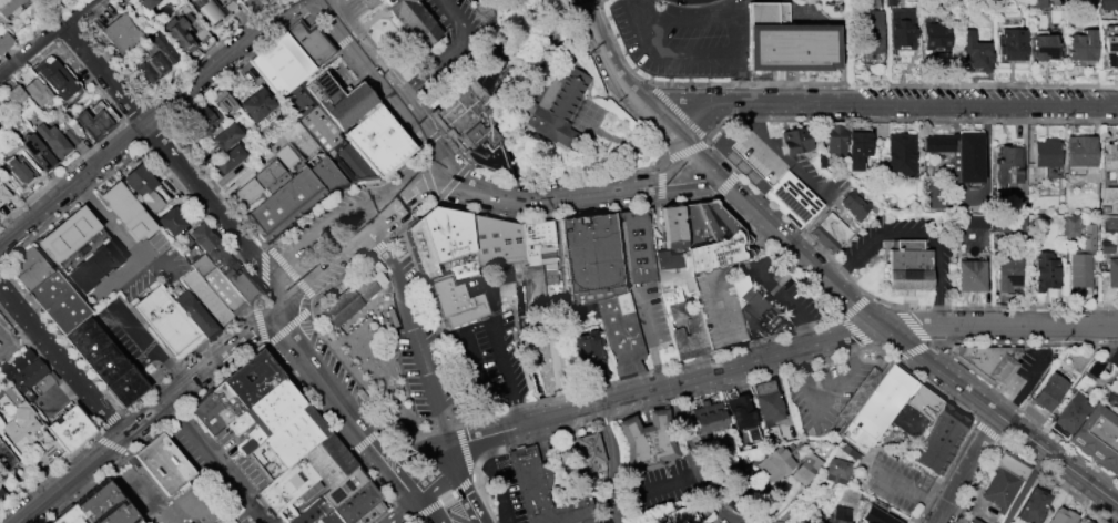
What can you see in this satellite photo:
building: (244, 0)
building: (375, 0)
building: (383, 1)
building: (146, 3)
building: (888, 3)
building: (1038, 3)
road: (689, 4)
building: (1108, 4)
building: (8, 6)
road: (641, 8)
road: (331, 9)
road: (349, 9)
building: (207, 10)
road: (318, 11)
road: (382, 11)
building: (413, 19)
building: (901, 30)
building: (179, 32)
building: (119, 33)
building: (870, 35)
parking lot: (681, 37)
building: (936, 37)
road: (47, 38)
road: (346, 38)
building: (4, 40)
building: (307, 41)
building: (1010, 44)
building: (791, 45)
building: (1080, 47)
building: (1043, 48)
road: (732, 49)
building: (973, 53)
building: (1110, 53)
building: (155, 55)
road: (451, 57)
building: (278, 63)
building: (57, 80)
road: (739, 80)
road: (832, 83)
building: (321, 90)
road: (393, 91)
building: (37, 92)
parking lot: (985, 92)
building: (14, 94)
road: (634, 98)
building: (222, 101)
building: (255, 103)
road: (884, 103)
building: (348, 105)
road: (673, 110)
building: (559, 111)
road: (146, 121)
building: (193, 122)
building: (92, 123)
building: (476, 124)
building: (225, 135)
building: (70, 136)
road: (614, 137)
building: (832, 137)
building: (376, 139)
building: (793, 139)
building: (52, 140)
road: (429, 140)
building: (935, 142)
building: (855, 146)
road: (683, 150)
building: (38, 152)
building: (1045, 152)
building: (1077, 152)
building: (898, 153)
building: (966, 155)
building: (227, 156)
building: (1109, 158)
road: (722, 160)
road: (175, 162)
parking lot: (783, 162)
building: (353, 163)
building: (1007, 163)
building: (339, 166)
building: (19, 170)
road: (246, 173)
building: (324, 173)
road: (803, 175)
building: (268, 176)
road: (426, 176)
road: (558, 180)
building: (138, 181)
road: (221, 181)
road: (450, 183)
road: (660, 183)
road: (724, 184)
building: (1106, 192)
building: (3, 194)
building: (246, 195)
road: (548, 197)
building: (790, 198)
building: (283, 202)
road: (659, 202)
building: (853, 205)
building: (1105, 208)
building: (124, 211)
building: (713, 218)
building: (170, 221)
building: (974, 223)
building: (1109, 223)
building: (1070, 224)
building: (670, 225)
building: (691, 225)
road: (319, 230)
building: (827, 230)
road: (921, 230)
building: (201, 236)
building: (1087, 236)
building: (70, 238)
building: (448, 238)
building: (533, 238)
building: (485, 239)
building: (510, 242)
road: (128, 244)
building: (634, 244)
park: (327, 245)
building: (1106, 246)
building: (419, 248)
building: (718, 250)
road: (797, 250)
road: (343, 254)
building: (586, 256)
road: (159, 258)
parking lot: (845, 263)
building: (200, 264)
building: (93, 265)
road: (262, 265)
building: (911, 266)
parking lot: (154, 267)
building: (28, 268)
building: (1078, 268)
road: (288, 270)
building: (1044, 270)
building: (231, 271)
building: (1007, 273)
building: (968, 274)
building: (1111, 274)
road: (673, 280)
building: (671, 281)
building: (364, 283)
road: (722, 283)
building: (222, 290)
road: (780, 291)
building: (204, 297)
parking lot: (789, 297)
building: (451, 299)
building: (57, 300)
building: (346, 304)
road: (853, 306)
building: (755, 309)
parking lot: (647, 311)
building: (194, 314)
building: (165, 320)
road: (257, 322)
road: (997, 324)
road: (912, 325)
road: (287, 326)
road: (436, 327)
building: (619, 331)
building: (698, 332)
road: (855, 332)
parking lot: (130, 337)
road: (415, 337)
park: (390, 339)
parking lot: (415, 340)
parking lot: (9, 341)
road: (16, 342)
building: (682, 342)
parking lot: (490, 348)
road: (553, 348)
road: (152, 349)
road: (911, 351)
road: (240, 357)
building: (587, 357)
road: (948, 357)
building: (1112, 358)
building: (102, 360)
building: (14, 361)
building: (989, 361)
road: (63, 362)
road: (742, 363)
building: (1094, 369)
parking lot: (1034, 371)
building: (26, 375)
road: (505, 376)
building: (250, 377)
building: (41, 382)
road: (328, 387)
parking lot: (824, 390)
road: (939, 392)
building: (1048, 392)
road: (67, 393)
road: (1022, 393)
road: (834, 397)
parking lot: (52, 398)
building: (1111, 398)
building: (921, 400)
building: (768, 401)
building: (274, 403)
building: (874, 407)
building: (214, 408)
building: (736, 410)
road: (122, 411)
building: (1070, 411)
road: (151, 413)
road: (998, 416)
road: (604, 419)
road: (92, 420)
building: (708, 420)
building: (907, 420)
building: (20, 422)
road: (525, 424)
building: (68, 427)
road: (986, 431)
road: (369, 437)
building: (936, 438)
building: (1098, 438)
building: (286, 440)
building: (644, 440)
road: (468, 451)
building: (588, 451)
road: (411, 452)
building: (848, 452)
road: (1019, 452)
building: (4, 458)
building: (162, 462)
road: (612, 462)
road: (213, 463)
building: (774, 464)
road: (695, 465)
building: (805, 468)
road: (964, 468)
parking lot: (223, 469)
building: (836, 471)
building: (303, 473)
road: (435, 479)
road: (494, 479)
building: (732, 479)
parking lot: (900, 480)
building: (1004, 480)
road: (396, 484)
road: (517, 484)
parking lot: (665, 485)
building: (342, 486)
road: (459, 486)
parking lot: (508, 488)
road: (909, 488)
road: (643, 489)
building: (0, 491)
building: (542, 491)
road: (441, 499)
building: (355, 502)
building: (105, 506)
building: (1033, 506)
building: (309, 511)
road: (421, 511)
parking lot: (607, 511)
road: (402, 512)
building: (368, 513)
building: (680, 515)
building: (838, 515)
building: (70, 516)
road: (596, 516)
building: (876, 516)
building: (1060, 516)
road: (26, 520)
building: (973, 521)
building: (581, 522)
building: (1085, 522)

